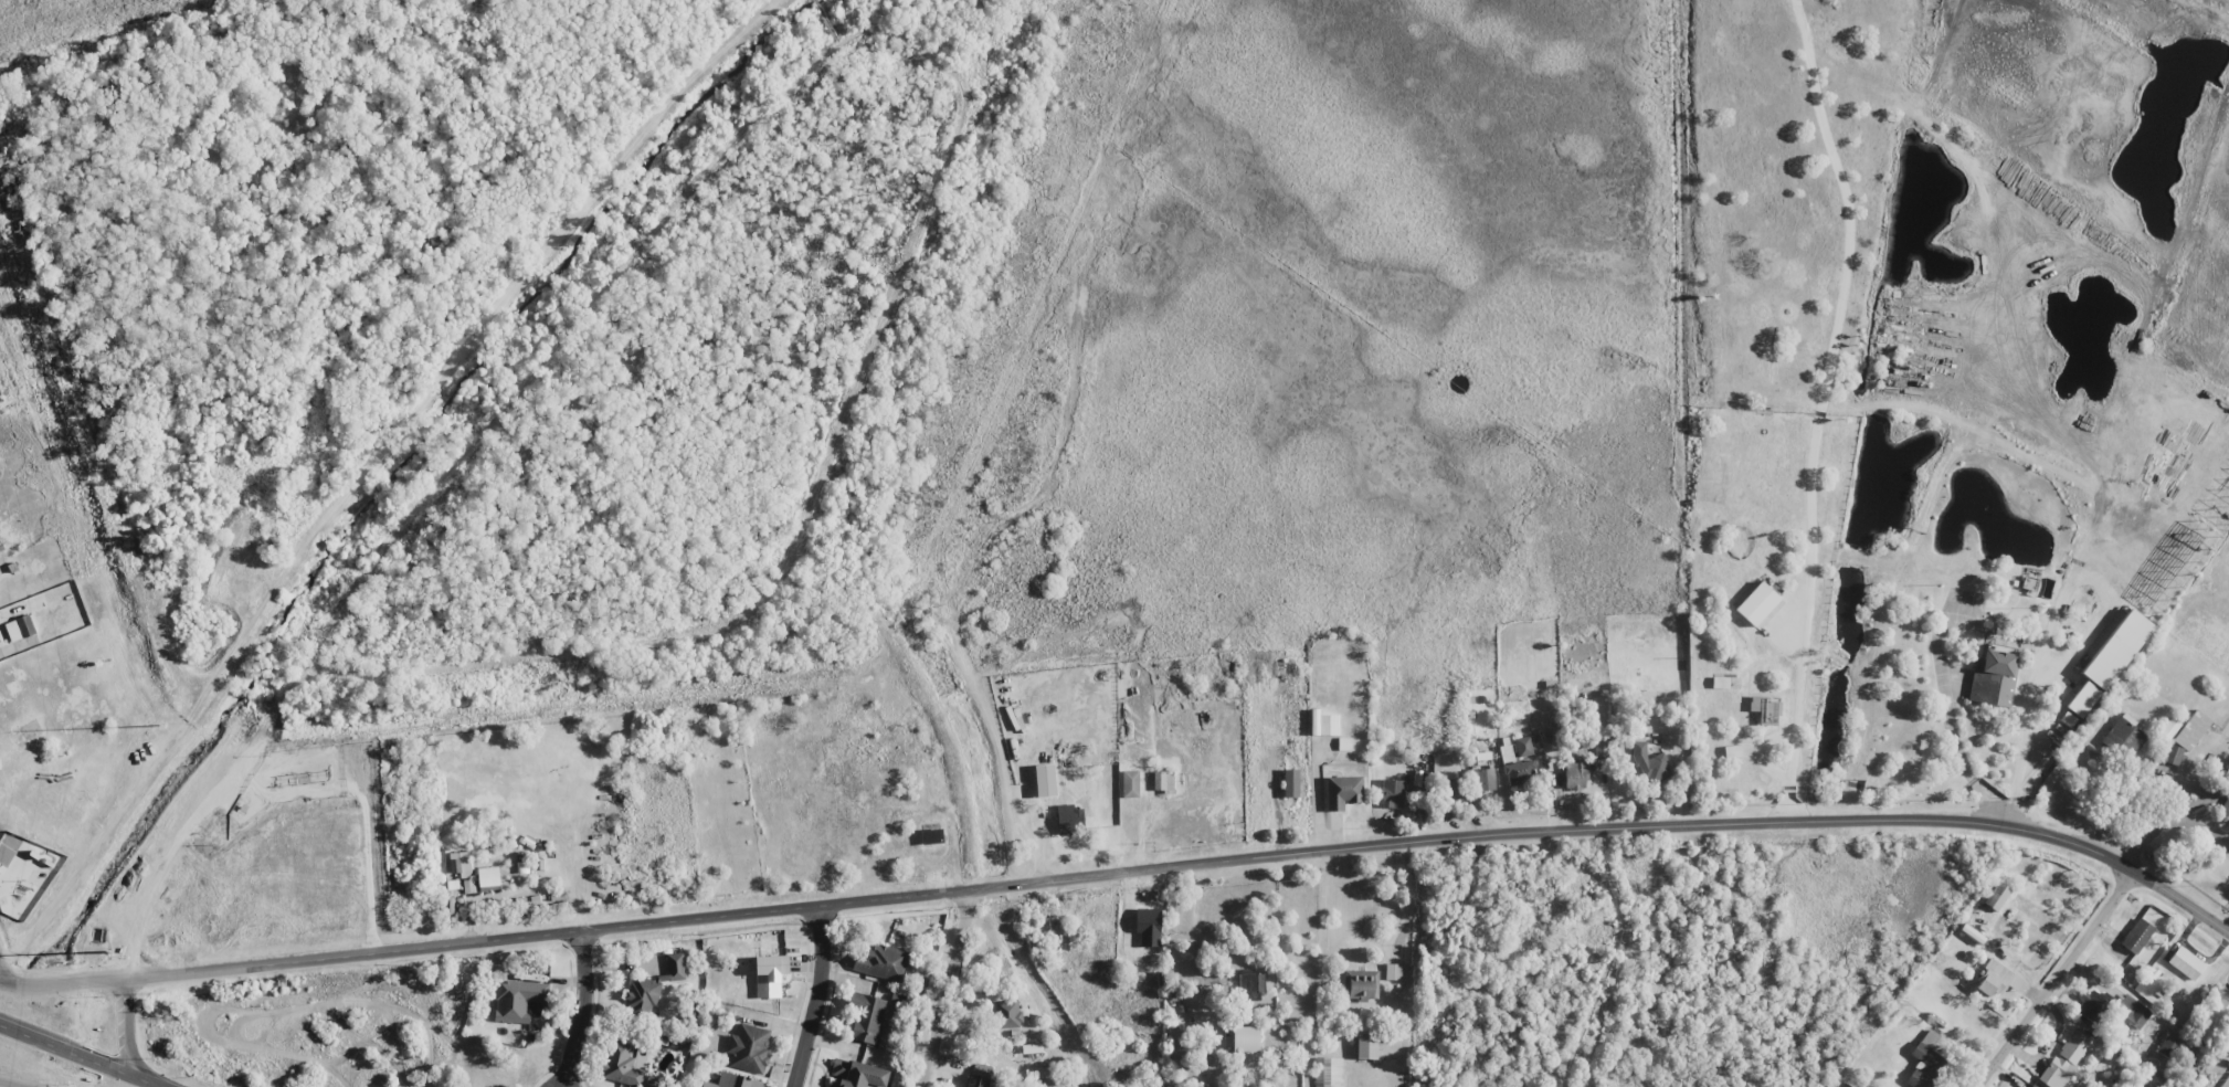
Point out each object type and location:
road: (825, 21)
road: (465, 346)
road: (557, 350)
road: (805, 515)
building: (1756, 603)
building: (20, 629)
building: (2116, 650)
building: (1994, 676)
building: (1720, 683)
building: (2083, 699)
building: (1764, 710)
power tower: (159, 724)
building: (1328, 725)
building: (2190, 730)
building: (1344, 743)
building: (1522, 747)
building: (1732, 751)
building: (2172, 754)
building: (1649, 763)
building: (1520, 772)
building: (1575, 775)
building: (1483, 780)
building: (1162, 781)
building: (1130, 783)
building: (1290, 783)
building: (1046, 788)
building: (1343, 792)
building: (1393, 793)
building: (2227, 810)
building: (1069, 819)
road: (181, 833)
building: (931, 836)
road: (96, 842)
building: (459, 864)
road: (1133, 867)
building: (488, 879)
building: (1996, 896)
building: (2136, 936)
power tower: (107, 952)
building: (881, 962)
building: (2186, 963)
road: (7, 969)
building: (1393, 971)
building: (769, 975)
road: (2056, 979)
building: (1996, 980)
building: (1250, 983)
road: (7, 984)
building: (1360, 984)
road: (947, 985)
building: (652, 986)
road: (817, 995)
building: (2221, 999)
building: (518, 1000)
building: (2094, 1006)
road: (580, 1010)
building: (2131, 1012)
building: (1007, 1015)
building: (865, 1019)
road: (126, 1027)
building: (1245, 1039)
building: (1366, 1045)
building: (2226, 1047)
building: (748, 1048)
building: (2167, 1048)
road: (84, 1053)
building: (2066, 1058)
building: (1925, 1062)
building: (623, 1064)
building: (1328, 1072)
building: (858, 1074)
building: (979, 1075)
building: (733, 1081)
road: (3, 1086)

